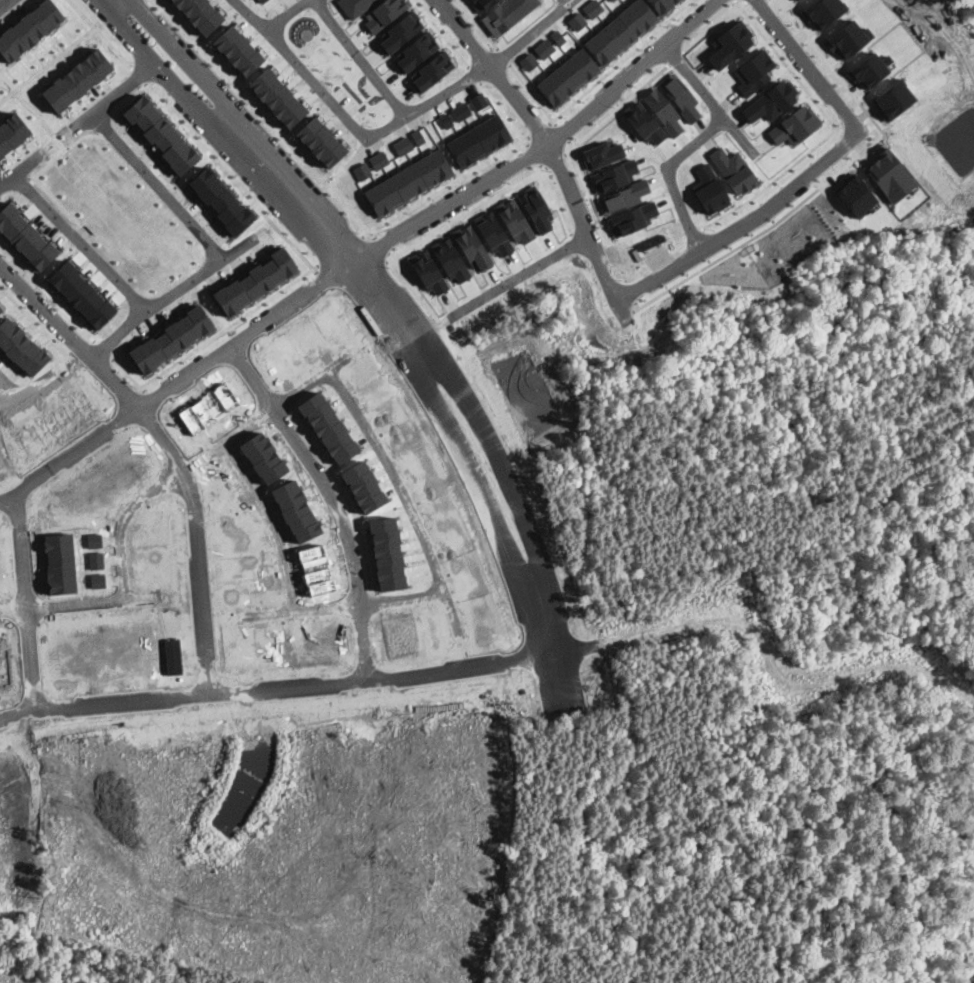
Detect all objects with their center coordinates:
road: (460, 0)
building: (612, 0)
building: (612, 0)
road: (1, 1)
building: (261, 1)
road: (569, 1)
road: (3, 2)
road: (107, 2)
building: (481, 4)
building: (663, 5)
building: (356, 6)
building: (592, 8)
building: (825, 10)
road: (82, 13)
building: (384, 13)
building: (201, 14)
building: (507, 14)
road: (251, 15)
building: (578, 21)
building: (29, 29)
road: (530, 30)
building: (400, 31)
building: (620, 32)
road: (486, 34)
building: (849, 38)
road: (138, 40)
road: (451, 44)
building: (730, 44)
building: (237, 50)
building: (416, 50)
road: (360, 59)
road: (47, 63)
road: (807, 65)
building: (754, 66)
building: (431, 71)
road: (475, 74)
building: (568, 77)
building: (77, 80)
road: (113, 92)
building: (278, 97)
building: (479, 101)
building: (769, 102)
building: (461, 110)
road: (504, 113)
road: (267, 118)
road: (349, 120)
building: (446, 120)
building: (643, 122)
road: (600, 123)
road: (45, 126)
building: (793, 126)
building: (11, 132)
building: (160, 134)
road: (739, 134)
building: (418, 136)
road: (700, 139)
road: (545, 140)
building: (479, 141)
building: (321, 142)
road: (203, 146)
building: (403, 146)
road: (537, 149)
building: (602, 154)
road: (555, 159)
building: (378, 160)
road: (284, 163)
road: (27, 164)
building: (733, 169)
road: (580, 170)
building: (362, 171)
building: (890, 173)
road: (259, 175)
building: (614, 175)
road: (7, 181)
building: (408, 183)
building: (710, 189)
road: (47, 190)
road: (433, 193)
building: (219, 198)
road: (556, 198)
building: (536, 208)
road: (466, 214)
building: (633, 218)
building: (514, 220)
road: (744, 225)
building: (493, 233)
building: (25, 236)
road: (207, 242)
road: (80, 243)
road: (381, 245)
building: (472, 247)
building: (451, 260)
road: (315, 269)
building: (428, 272)
building: (255, 281)
road: (414, 286)
road: (504, 287)
building: (81, 293)
road: (70, 314)
road: (226, 327)
building: (170, 339)
road: (4, 378)
road: (173, 386)
road: (278, 404)
road: (174, 444)
road: (455, 454)
road: (404, 496)
road: (330, 497)
road: (269, 523)
road: (126, 572)
road: (30, 599)
road: (344, 608)
road: (266, 682)
park: (963, 965)

